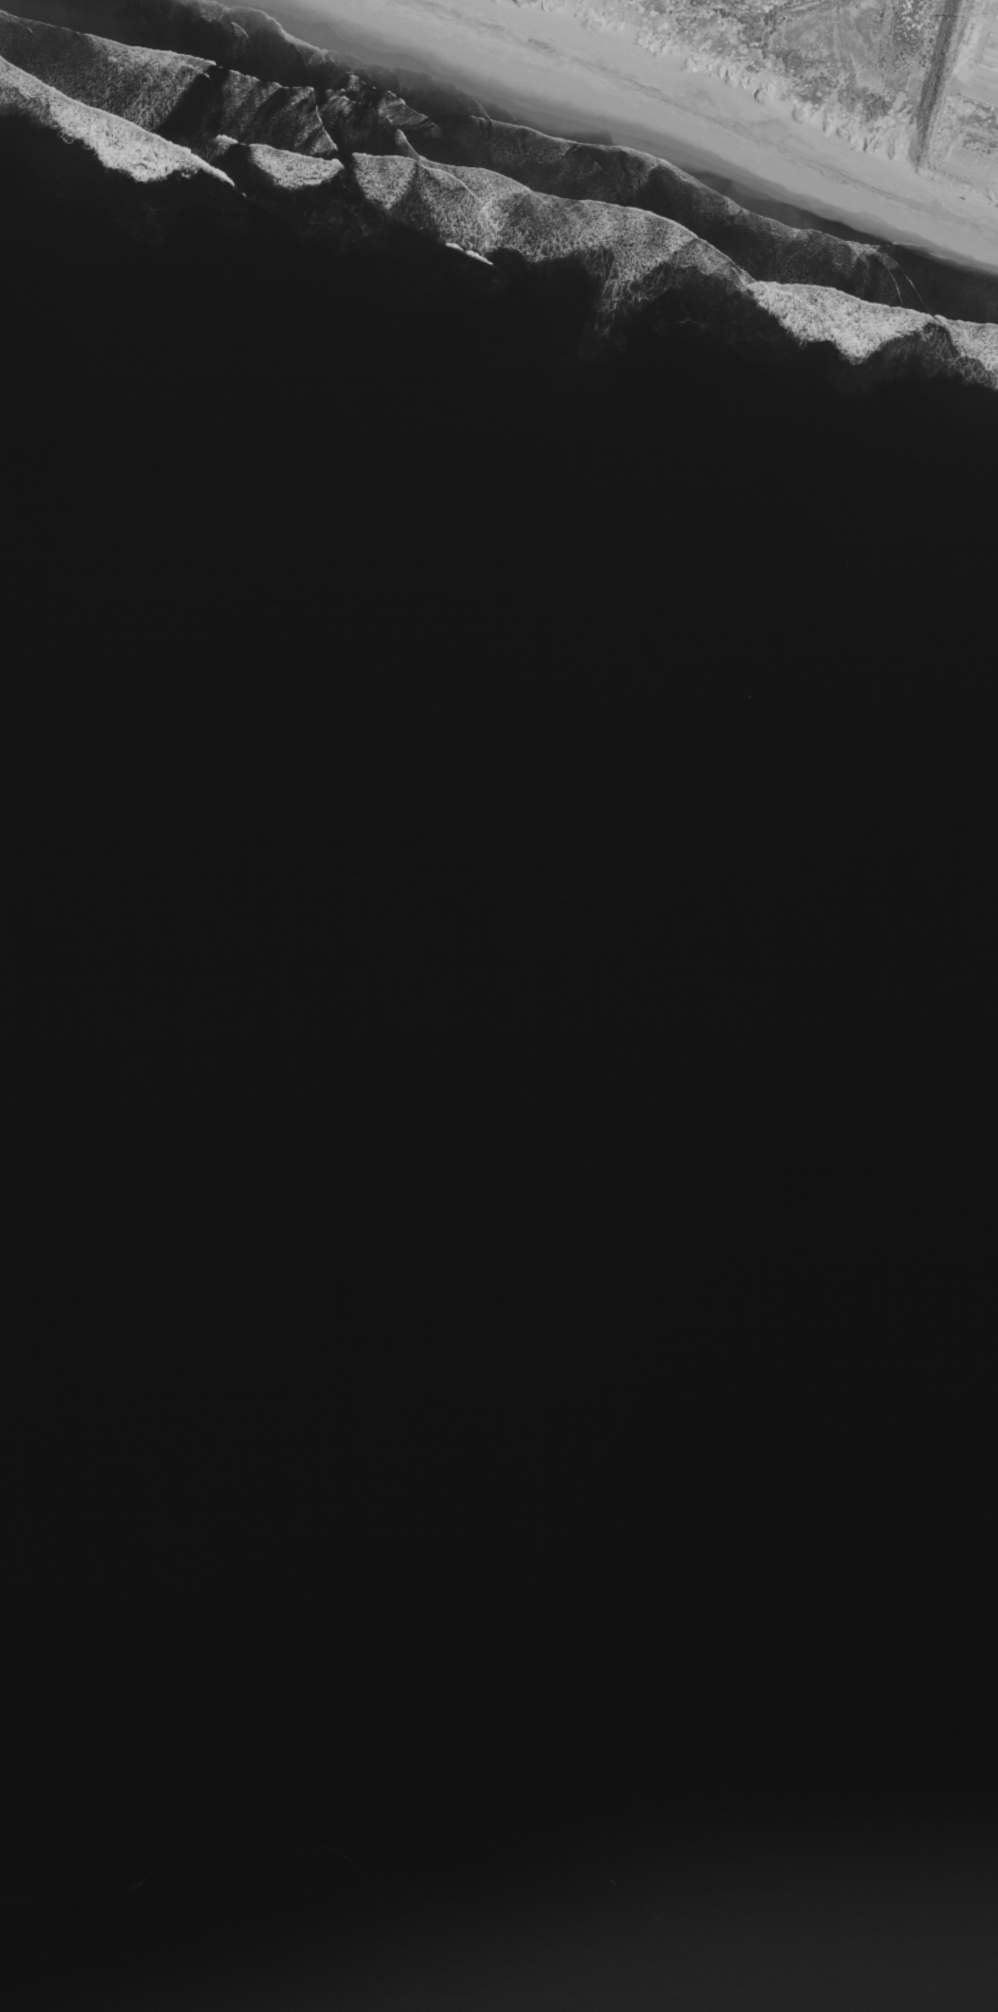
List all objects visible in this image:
airport: (588, 165)

